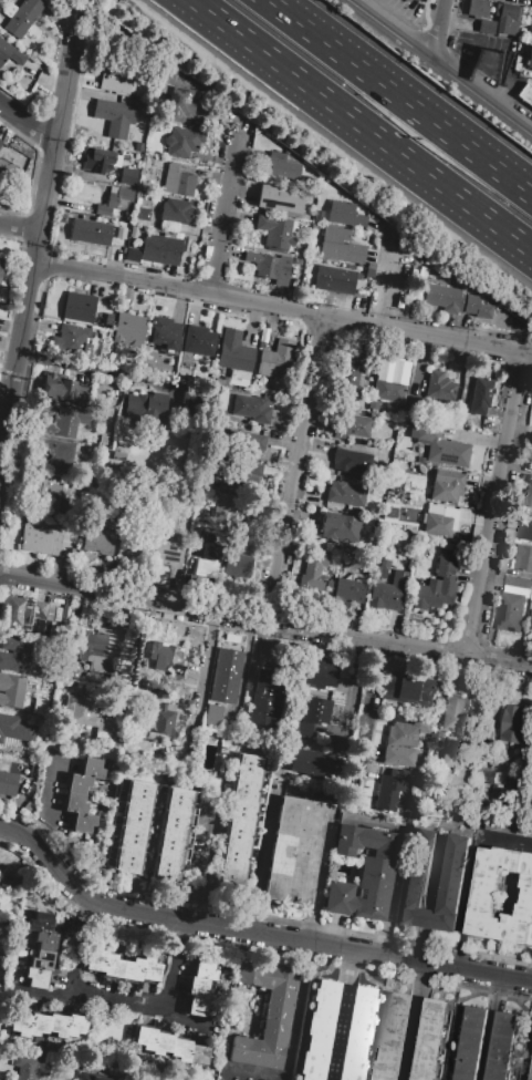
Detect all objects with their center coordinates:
building: (408, 1)
road: (79, 7)
building: (478, 8)
parking lot: (404, 12)
building: (22, 17)
building: (507, 18)
building: (486, 27)
road: (437, 28)
building: (531, 32)
building: (10, 54)
building: (530, 58)
road: (442, 63)
building: (121, 71)
building: (164, 75)
building: (525, 93)
road: (399, 96)
building: (179, 104)
building: (114, 116)
road: (27, 123)
road: (361, 125)
building: (0, 141)
building: (182, 142)
building: (138, 146)
building: (97, 161)
building: (280, 166)
building: (128, 176)
building: (178, 179)
building: (279, 199)
building: (114, 200)
road: (226, 210)
building: (175, 212)
building: (345, 214)
building: (142, 215)
building: (317, 215)
road: (19, 227)
building: (314, 227)
road: (39, 229)
building: (277, 230)
building: (91, 232)
building: (340, 246)
building: (157, 250)
building: (299, 261)
building: (1, 266)
building: (269, 266)
building: (335, 279)
road: (394, 288)
building: (444, 297)
building: (79, 307)
building: (476, 307)
road: (282, 308)
building: (108, 319)
building: (129, 328)
building: (163, 336)
building: (198, 340)
building: (71, 341)
building: (233, 351)
building: (117, 356)
building: (275, 360)
road: (82, 366)
building: (352, 372)
building: (388, 383)
building: (438, 387)
building: (62, 389)
building: (481, 398)
building: (135, 405)
building: (154, 407)
building: (252, 408)
building: (46, 409)
building: (96, 421)
building: (64, 422)
building: (350, 425)
building: (246, 442)
building: (439, 445)
building: (56, 453)
building: (117, 455)
building: (352, 461)
road: (296, 467)
building: (250, 472)
building: (226, 481)
building: (446, 485)
building: (46, 493)
building: (345, 493)
building: (529, 495)
road: (496, 503)
building: (228, 512)
building: (436, 524)
building: (340, 528)
building: (526, 532)
building: (39, 537)
building: (101, 542)
building: (134, 546)
building: (168, 553)
building: (523, 558)
building: (241, 559)
building: (444, 566)
building: (204, 567)
building: (382, 568)
building: (313, 572)
building: (519, 582)
building: (348, 590)
building: (388, 592)
building: (432, 595)
building: (65, 610)
building: (24, 611)
building: (58, 613)
building: (514, 614)
road: (265, 618)
building: (91, 649)
building: (15, 655)
building: (166, 658)
building: (70, 670)
building: (316, 672)
building: (226, 676)
building: (140, 679)
building: (406, 689)
building: (11, 690)
building: (264, 691)
building: (154, 696)
road: (347, 699)
road: (196, 713)
building: (312, 714)
building: (212, 716)
building: (88, 717)
building: (163, 718)
building: (514, 724)
building: (15, 728)
building: (405, 729)
building: (452, 729)
building: (434, 738)
building: (398, 755)
building: (305, 761)
building: (3, 765)
building: (91, 768)
building: (8, 784)
building: (77, 784)
building: (494, 786)
building: (389, 789)
building: (348, 802)
building: (74, 803)
building: (240, 819)
building: (82, 822)
building: (509, 826)
building: (132, 827)
building: (170, 834)
building: (293, 851)
road: (261, 860)
road: (200, 863)
building: (418, 870)
building: (361, 874)
road: (471, 876)
building: (9, 882)
building: (484, 897)
building: (40, 922)
road: (251, 932)
building: (43, 940)
building: (42, 959)
road: (173, 963)
building: (122, 966)
building: (204, 968)
road: (71, 973)
building: (34, 978)
road: (531, 979)
building: (198, 987)
road: (139, 1004)
building: (196, 1006)
building: (263, 1016)
building: (19, 1025)
building: (38, 1025)
building: (56, 1025)
building: (75, 1025)
building: (317, 1030)
building: (356, 1033)
building: (394, 1037)
building: (153, 1040)
building: (431, 1040)
building: (472, 1043)
building: (503, 1046)
building: (188, 1052)
building: (29, 1067)
building: (88, 1077)
building: (531, 1078)

